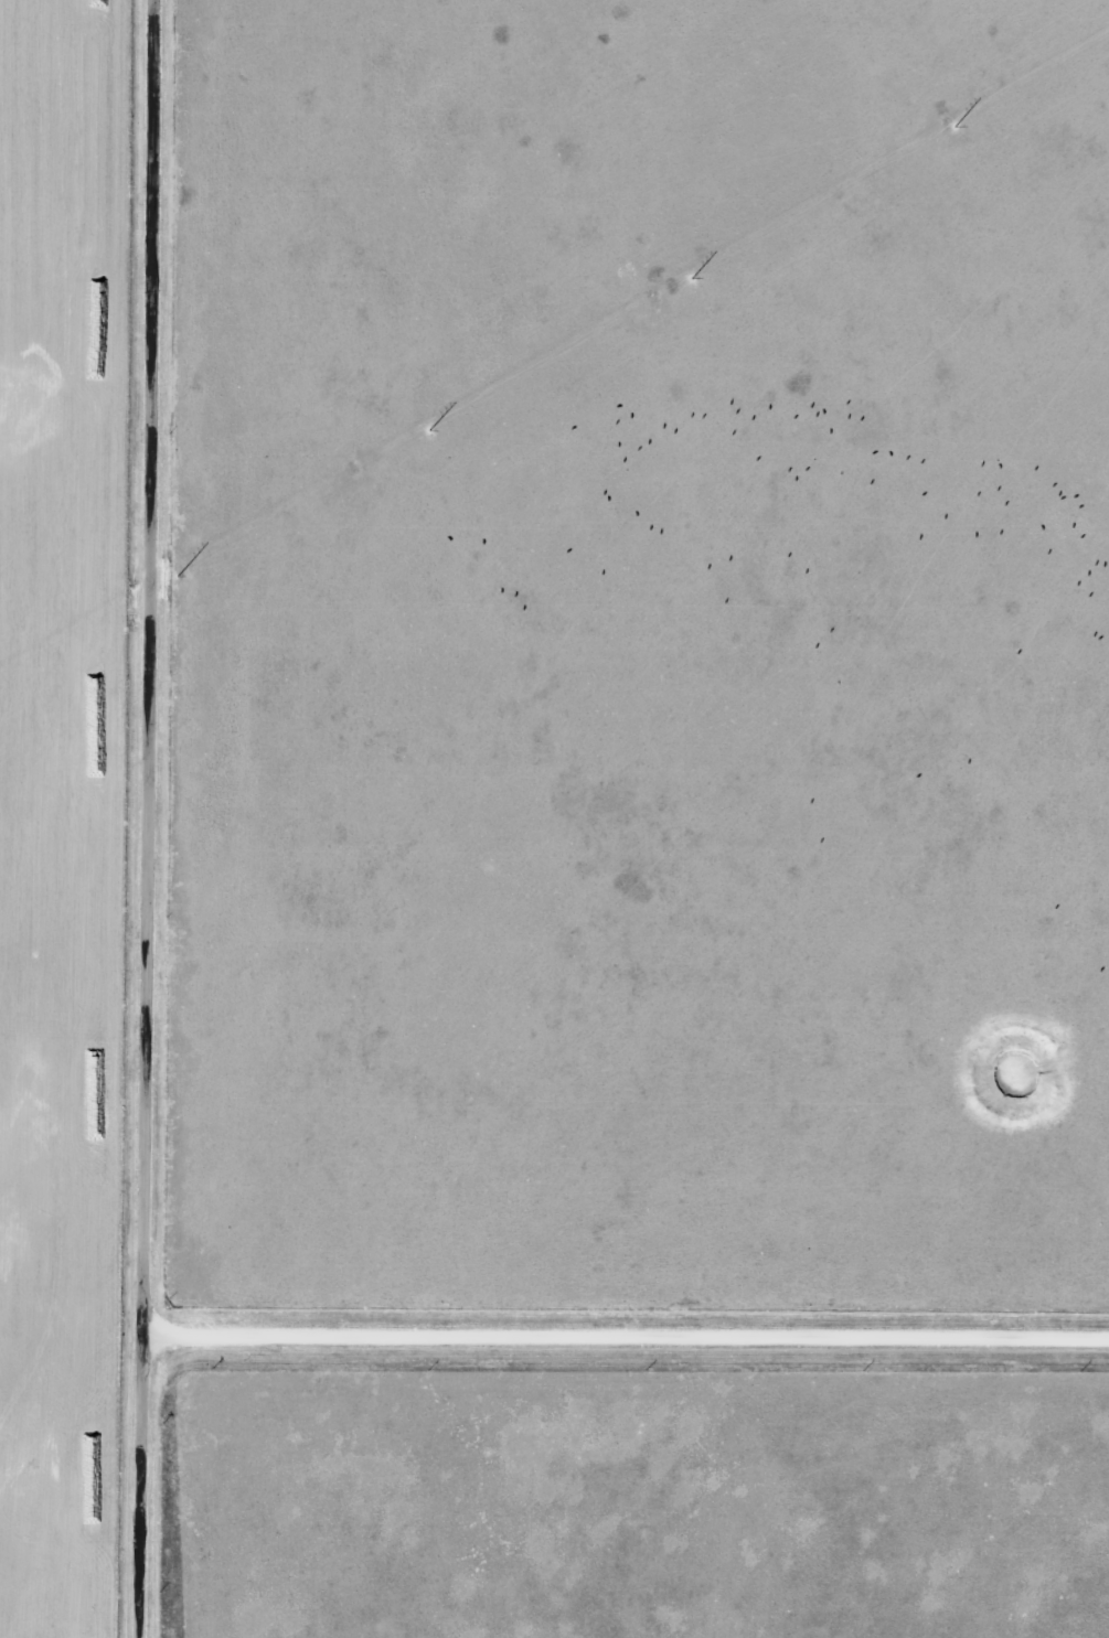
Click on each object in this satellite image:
power tower: (949, 124)
power tower: (650, 296)
power tower: (351, 469)
power tower: (57, 639)
road: (149, 818)
road: (627, 1332)

